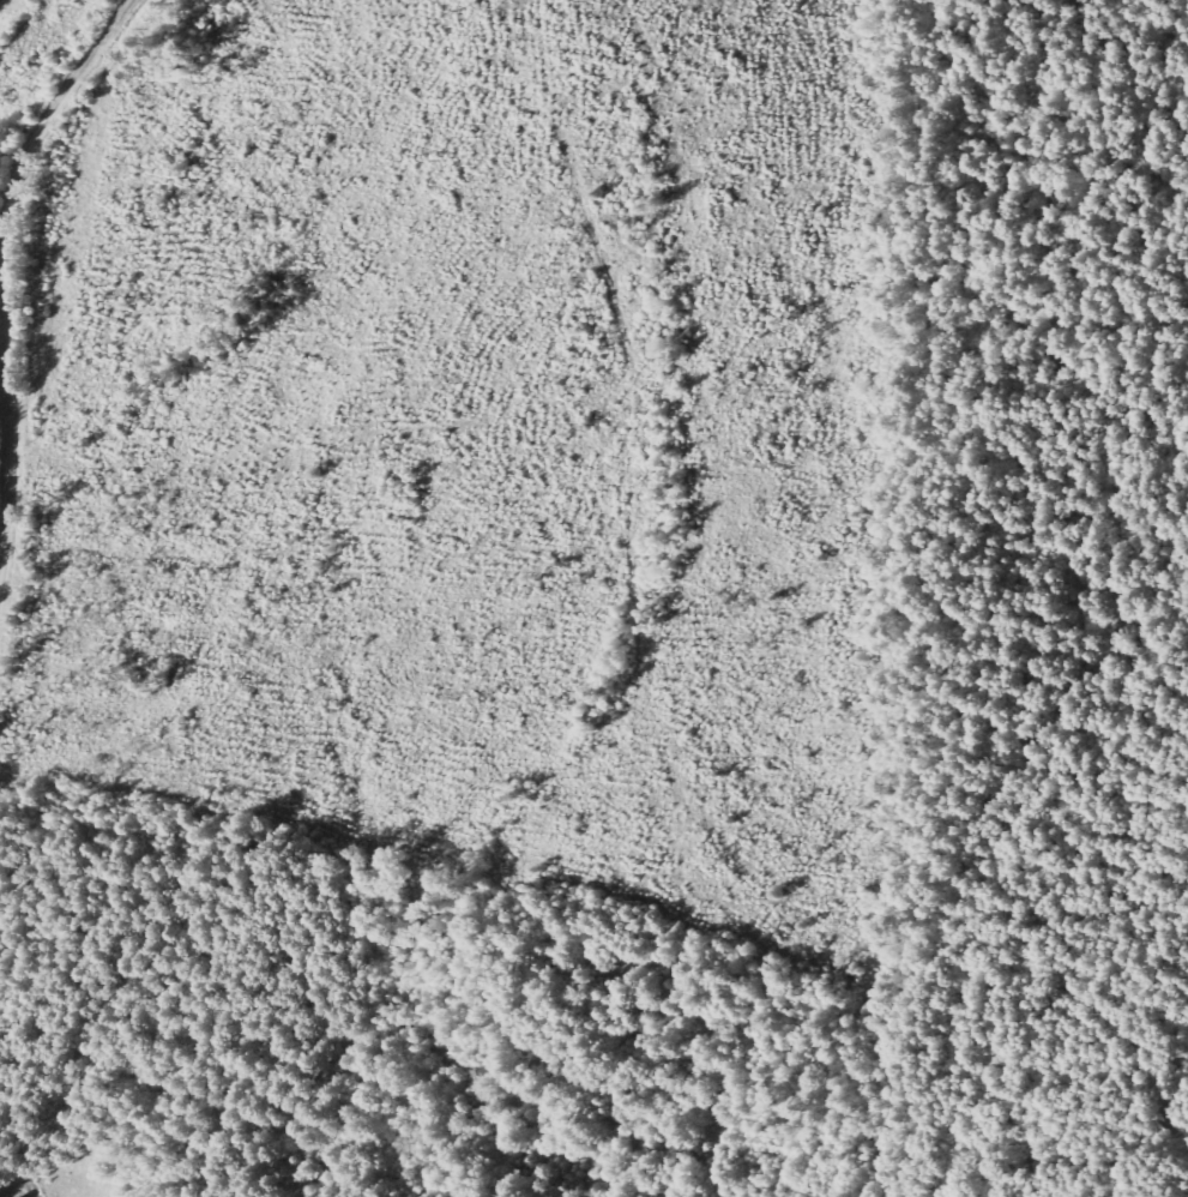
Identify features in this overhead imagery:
road: (8, 293)

